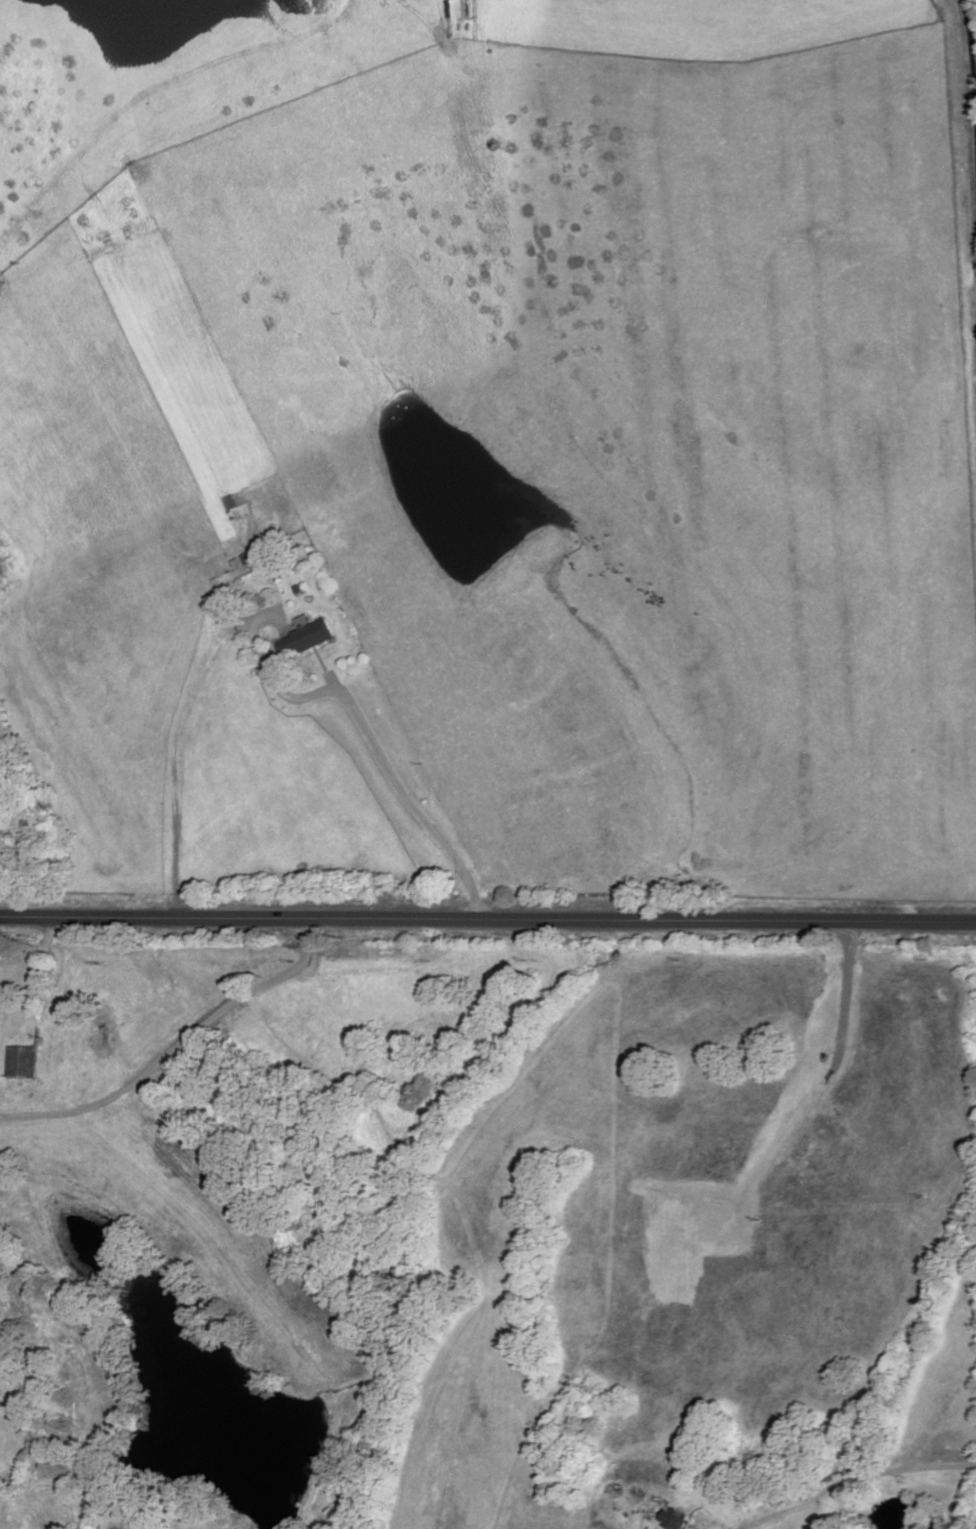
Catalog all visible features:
road: (972, 25)
building: (253, 559)
building: (276, 575)
building: (307, 637)
road: (411, 800)
road: (487, 919)
road: (27, 989)
road: (177, 1044)
building: (21, 1062)
road: (848, 1475)
road: (686, 1489)
building: (675, 1520)

